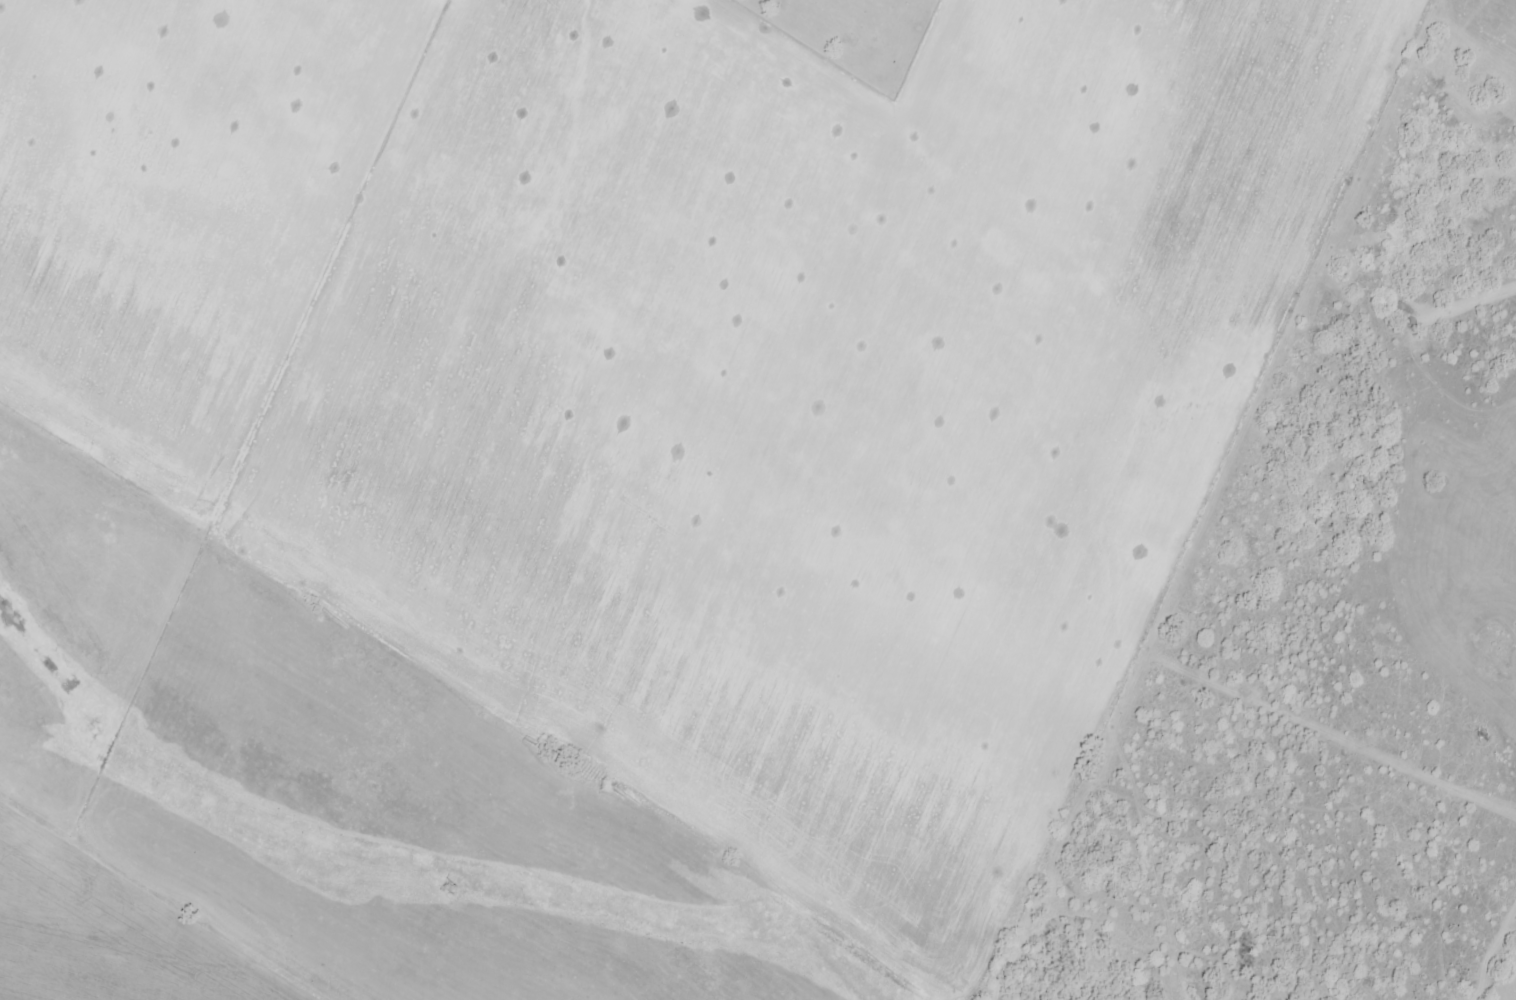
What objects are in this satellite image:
power tower: (451, 889)

